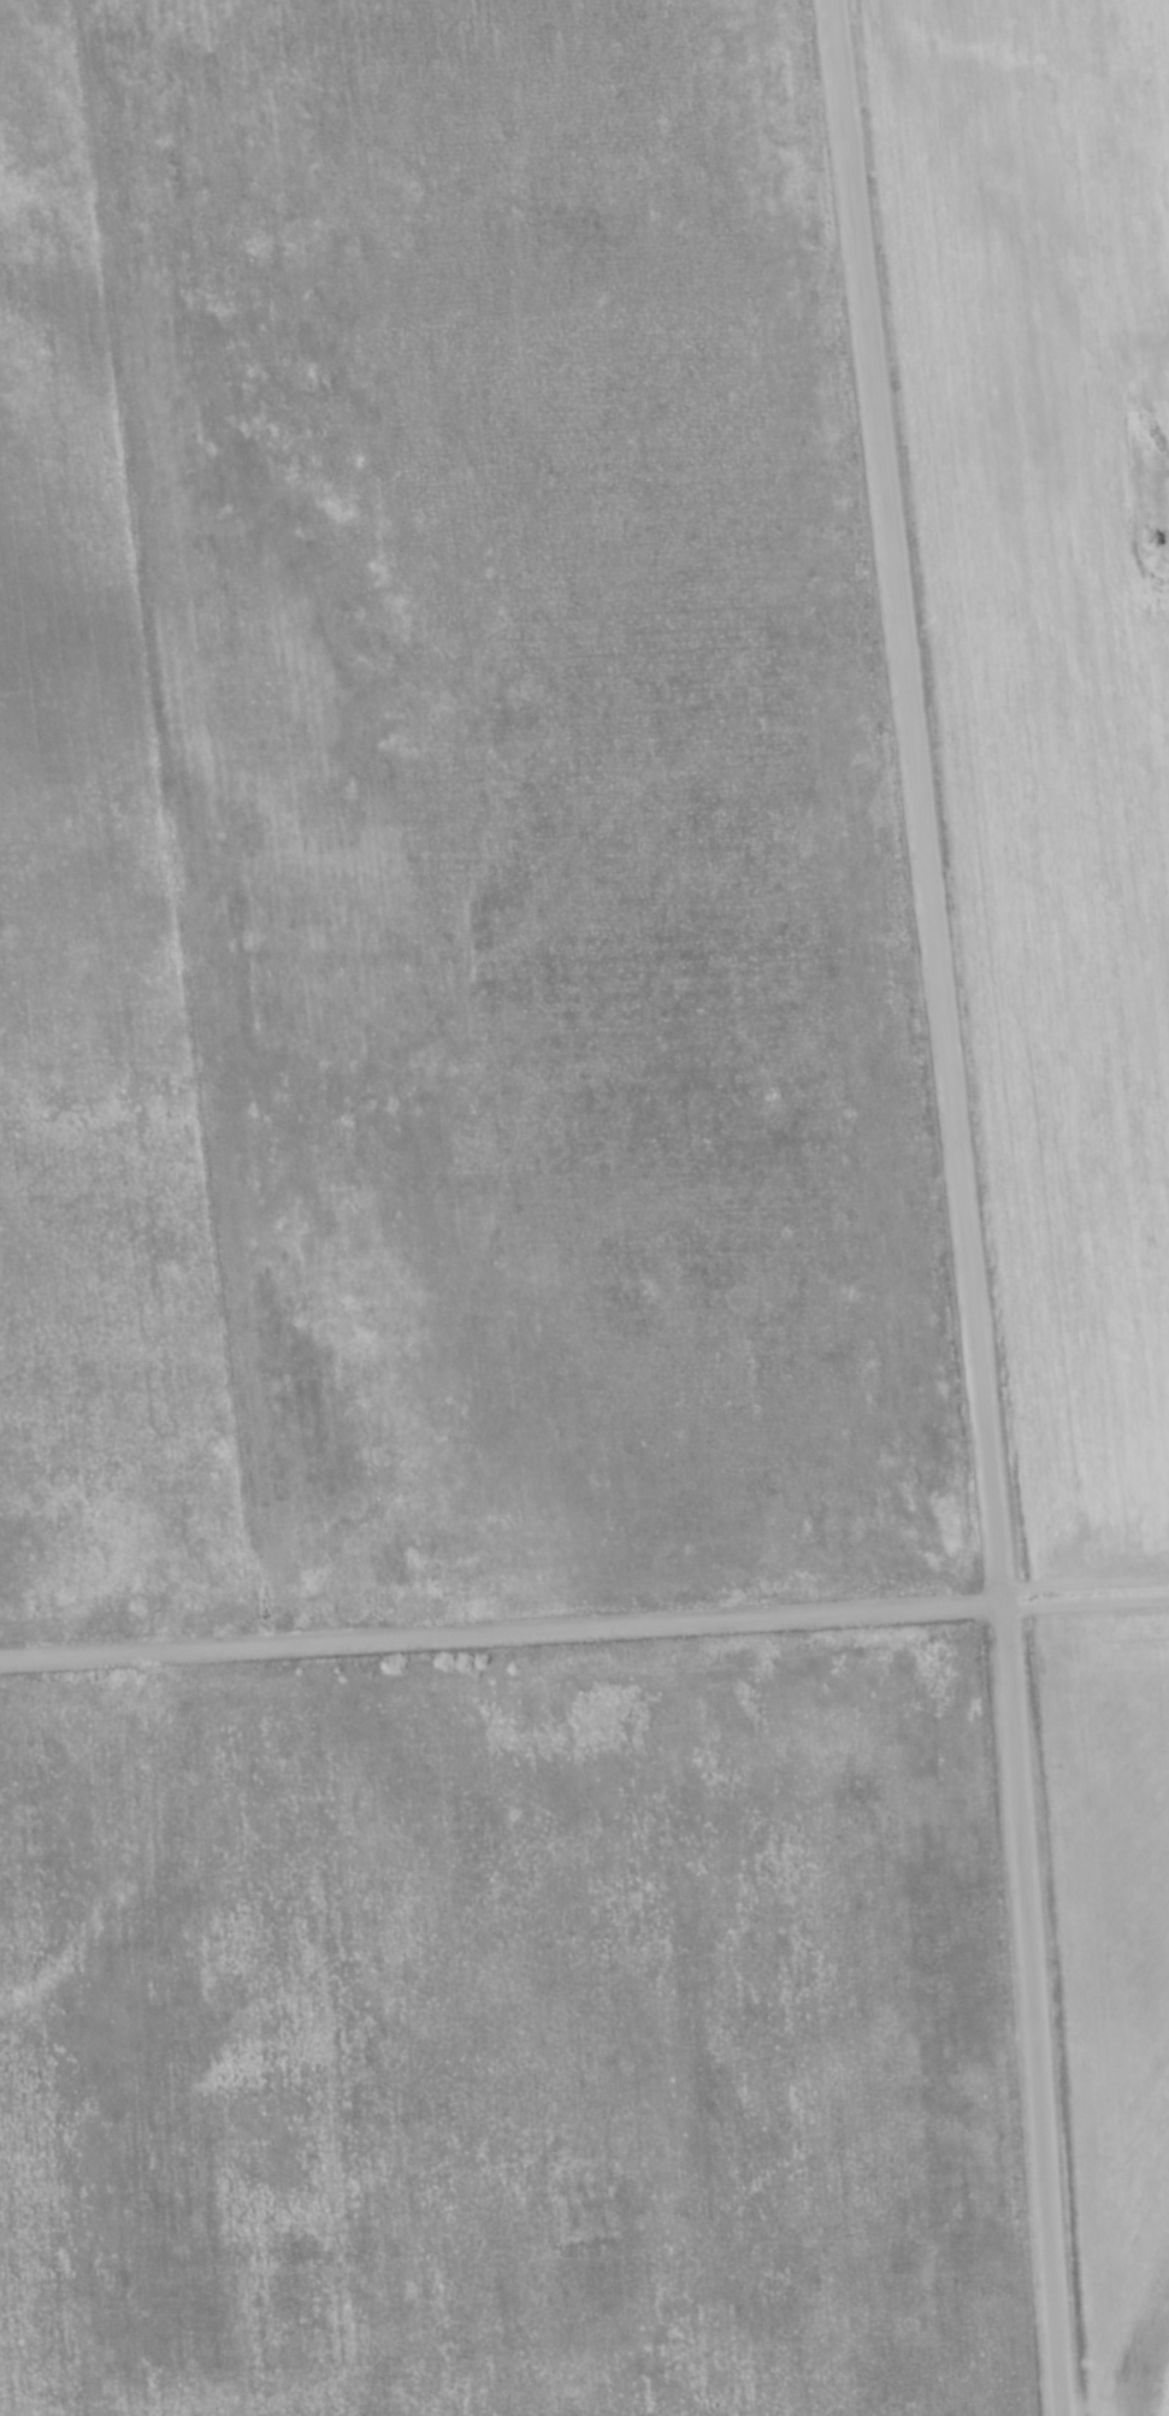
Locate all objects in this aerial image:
road: (962, 1206)
road: (502, 1637)

